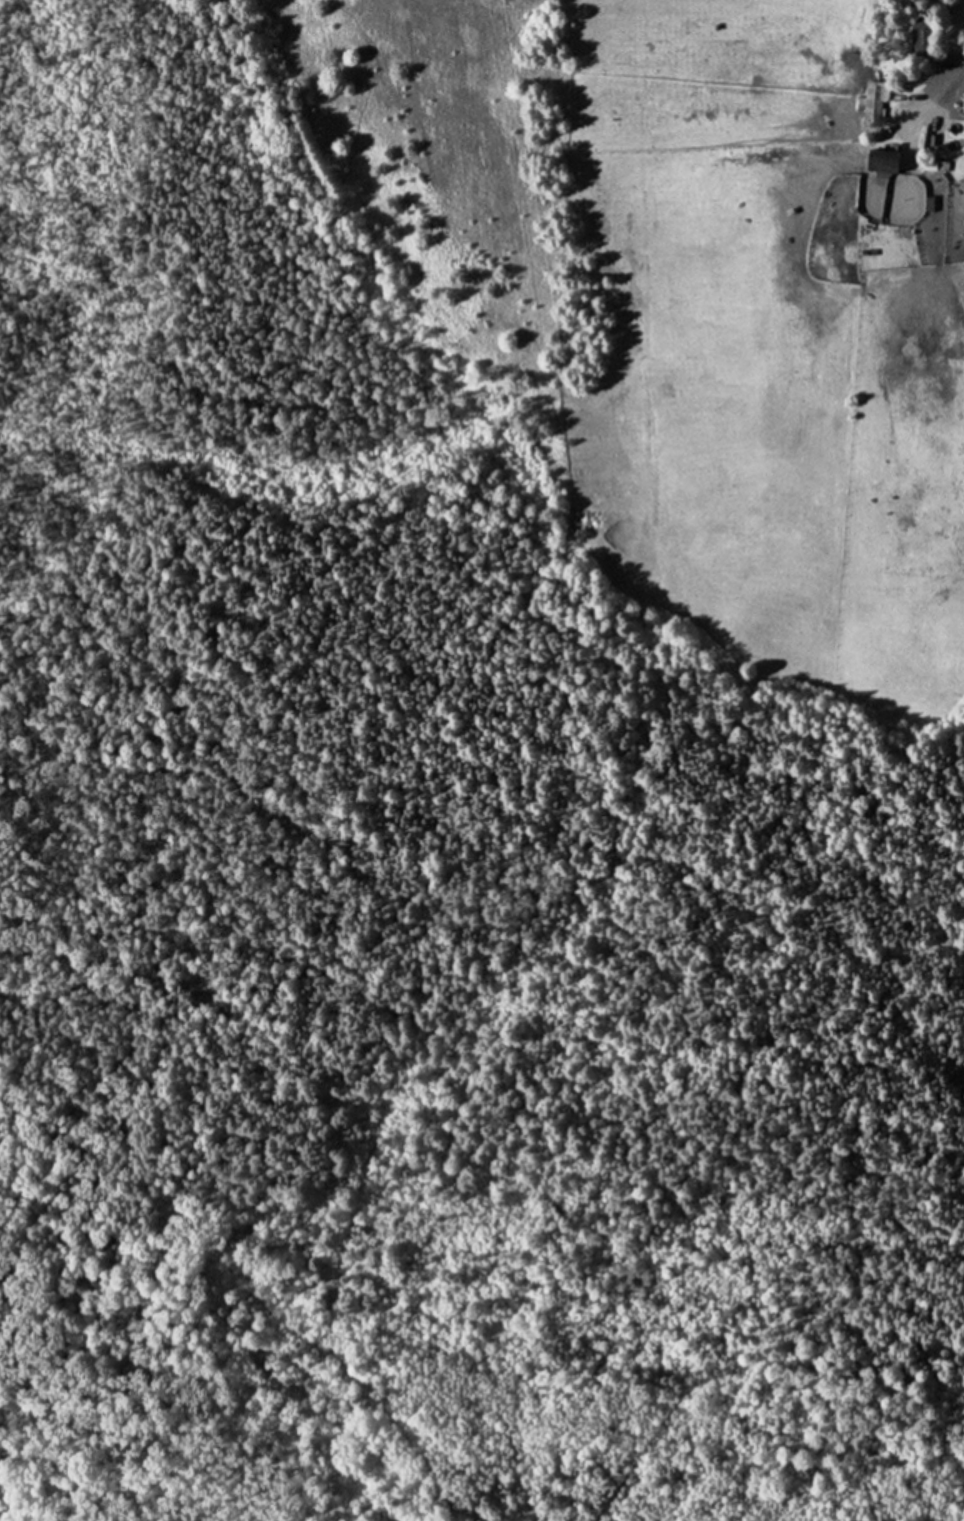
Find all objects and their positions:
building: (918, 35)
road: (933, 81)
building: (868, 101)
building: (878, 163)

